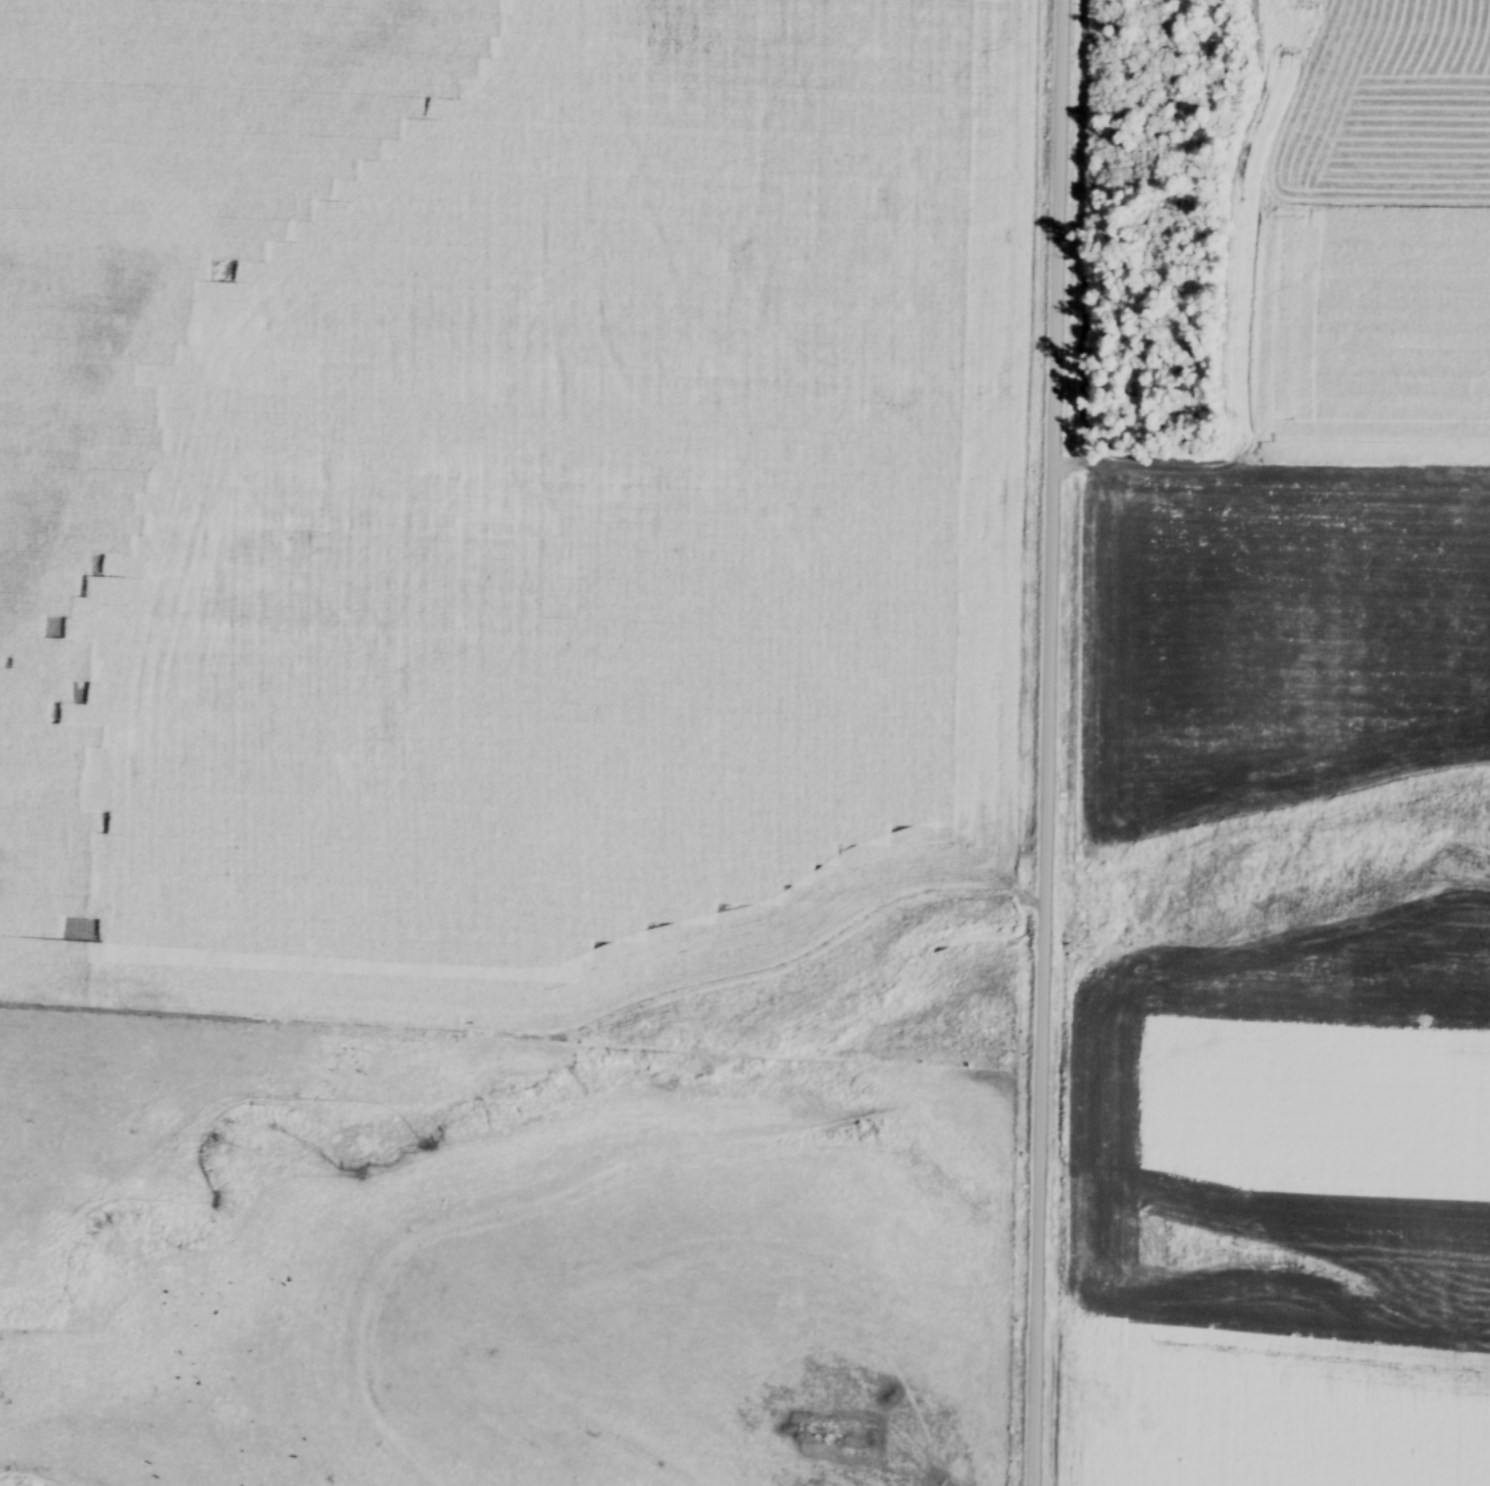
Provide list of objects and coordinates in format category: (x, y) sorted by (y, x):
road: (1129, 743)

